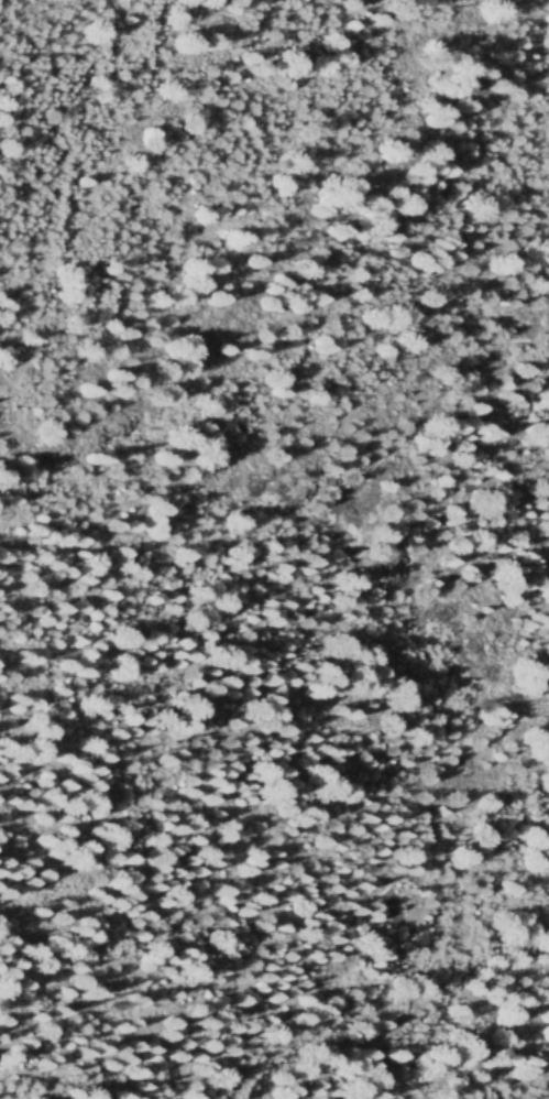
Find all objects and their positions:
road: (6, 480)
road: (365, 679)

